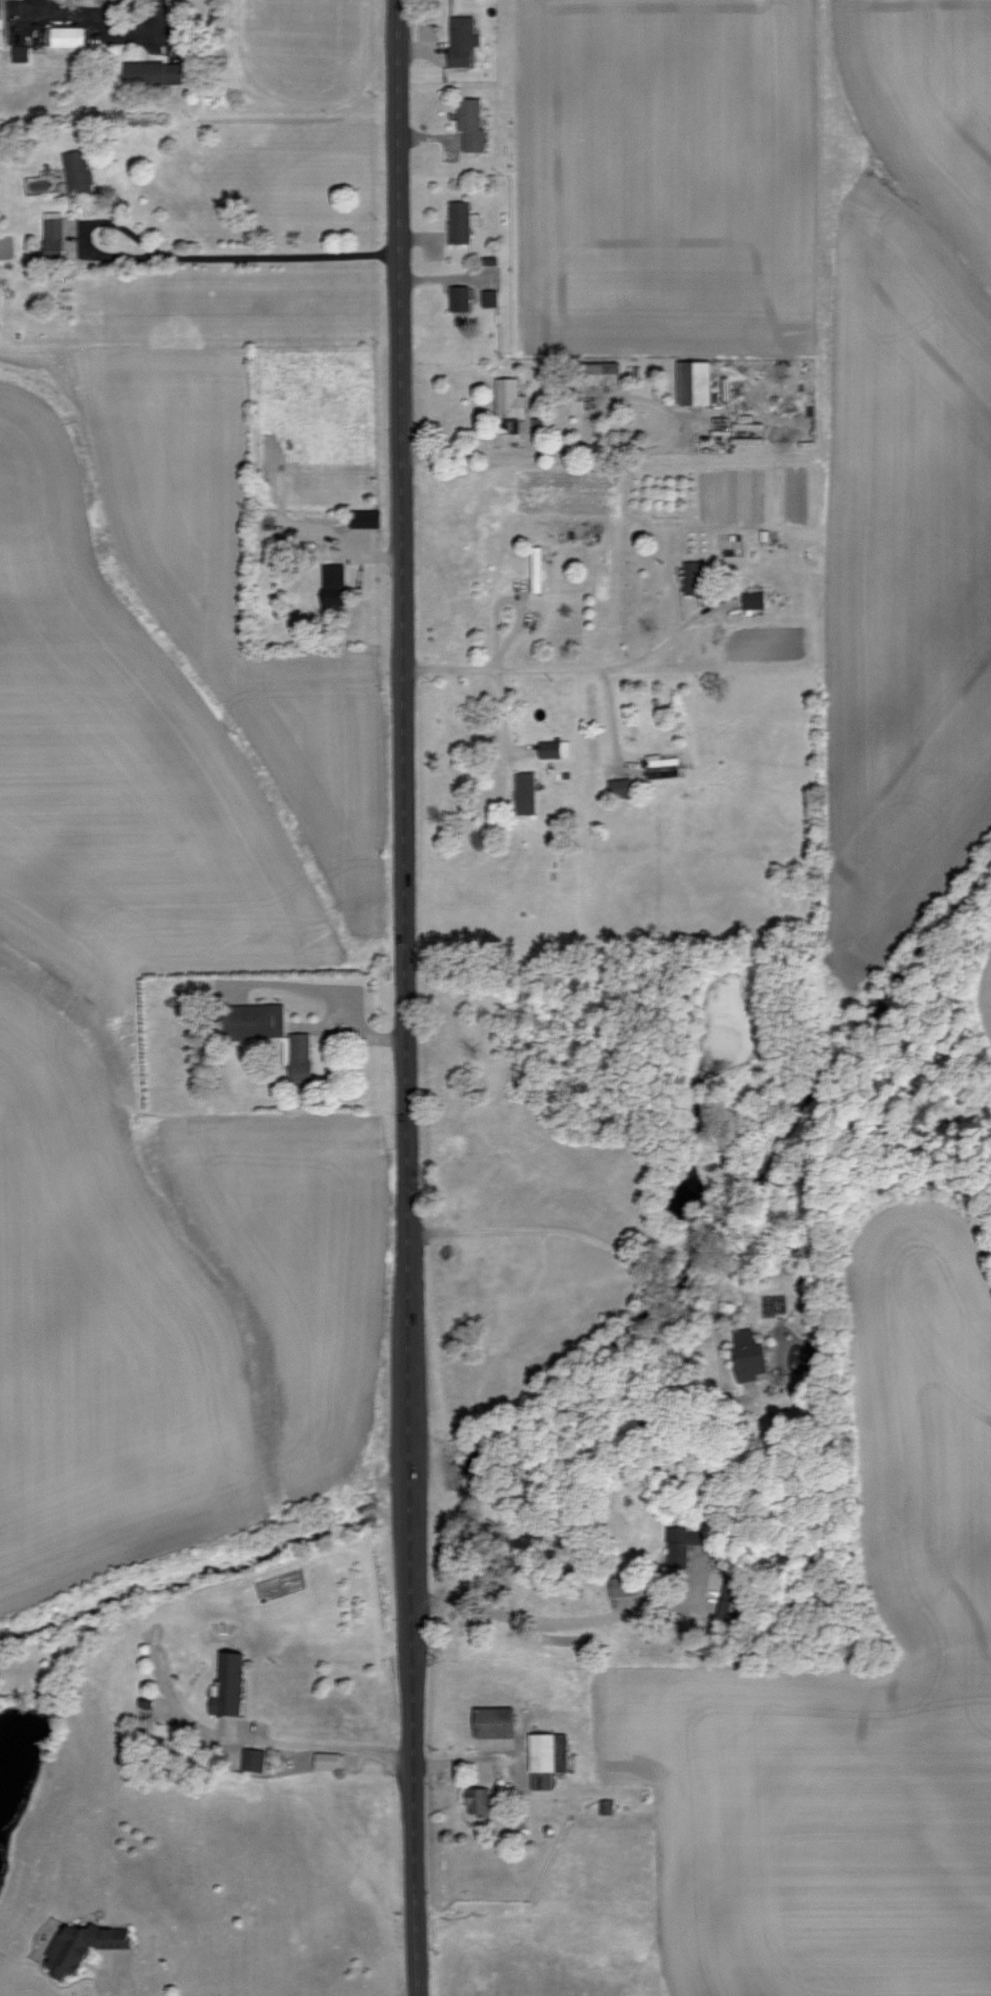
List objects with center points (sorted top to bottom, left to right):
road: (100, 25)
building: (66, 36)
building: (460, 41)
building: (19, 53)
building: (151, 73)
building: (469, 125)
building: (76, 172)
building: (457, 222)
building: (51, 238)
road: (184, 259)
building: (457, 299)
building: (488, 299)
building: (598, 374)
building: (692, 383)
building: (508, 399)
road: (620, 450)
building: (362, 519)
building: (537, 566)
building: (691, 577)
building: (331, 585)
building: (752, 600)
road: (660, 642)
road: (506, 669)
road: (501, 713)
building: (553, 749)
building: (617, 785)
building: (523, 792)
road: (331, 995)
road: (408, 998)
building: (247, 1021)
building: (298, 1057)
building: (746, 1356)
building: (681, 1545)
building: (622, 1586)
road: (552, 1623)
building: (229, 1685)
building: (497, 1722)
building: (547, 1758)
building: (254, 1759)
building: (328, 1760)
building: (481, 1800)
building: (607, 1806)
building: (83, 1946)
road: (121, 1979)

